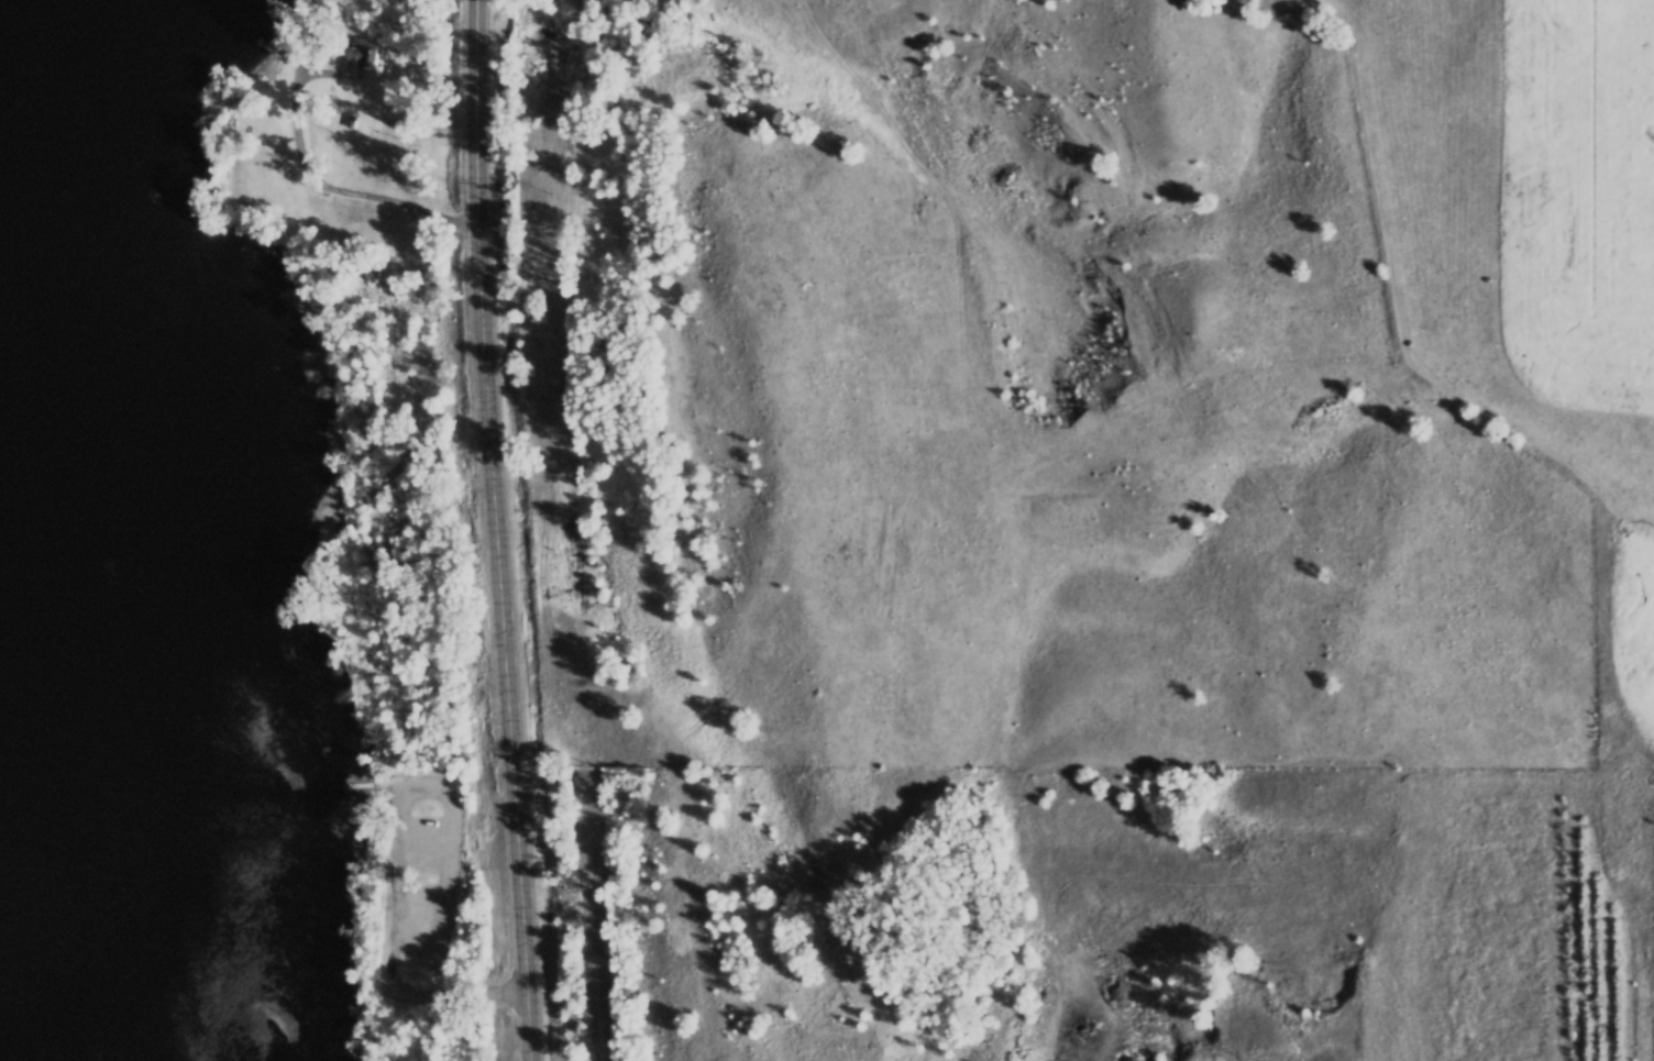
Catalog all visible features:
building: (357, 63)
road: (489, 531)
pier: (361, 786)
road: (385, 793)
road: (453, 820)
road: (422, 853)
park: (427, 896)
road: (405, 992)

